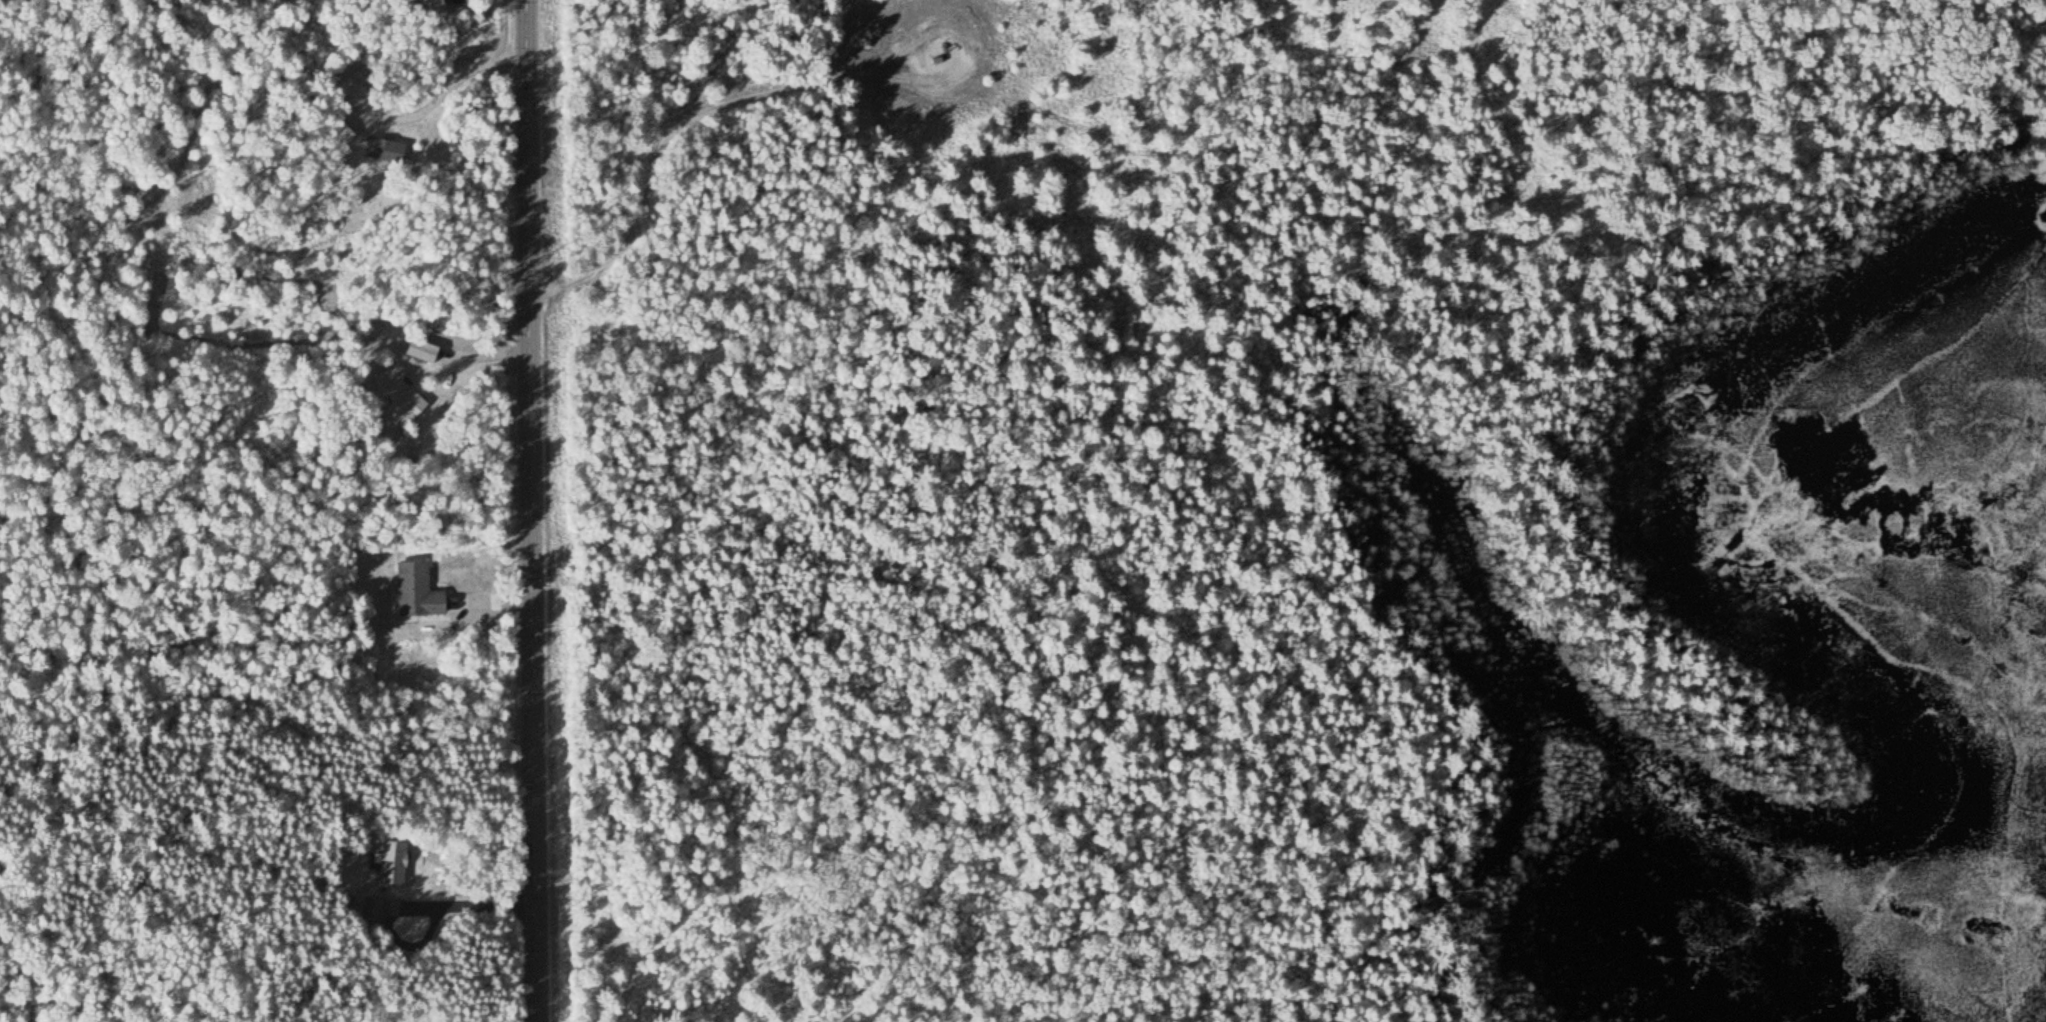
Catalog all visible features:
petroleum well: (934, 51)
road: (671, 129)
building: (341, 136)
building: (382, 149)
building: (420, 350)
building: (403, 402)
road: (530, 511)
building: (416, 590)
building: (390, 863)
building: (371, 913)

